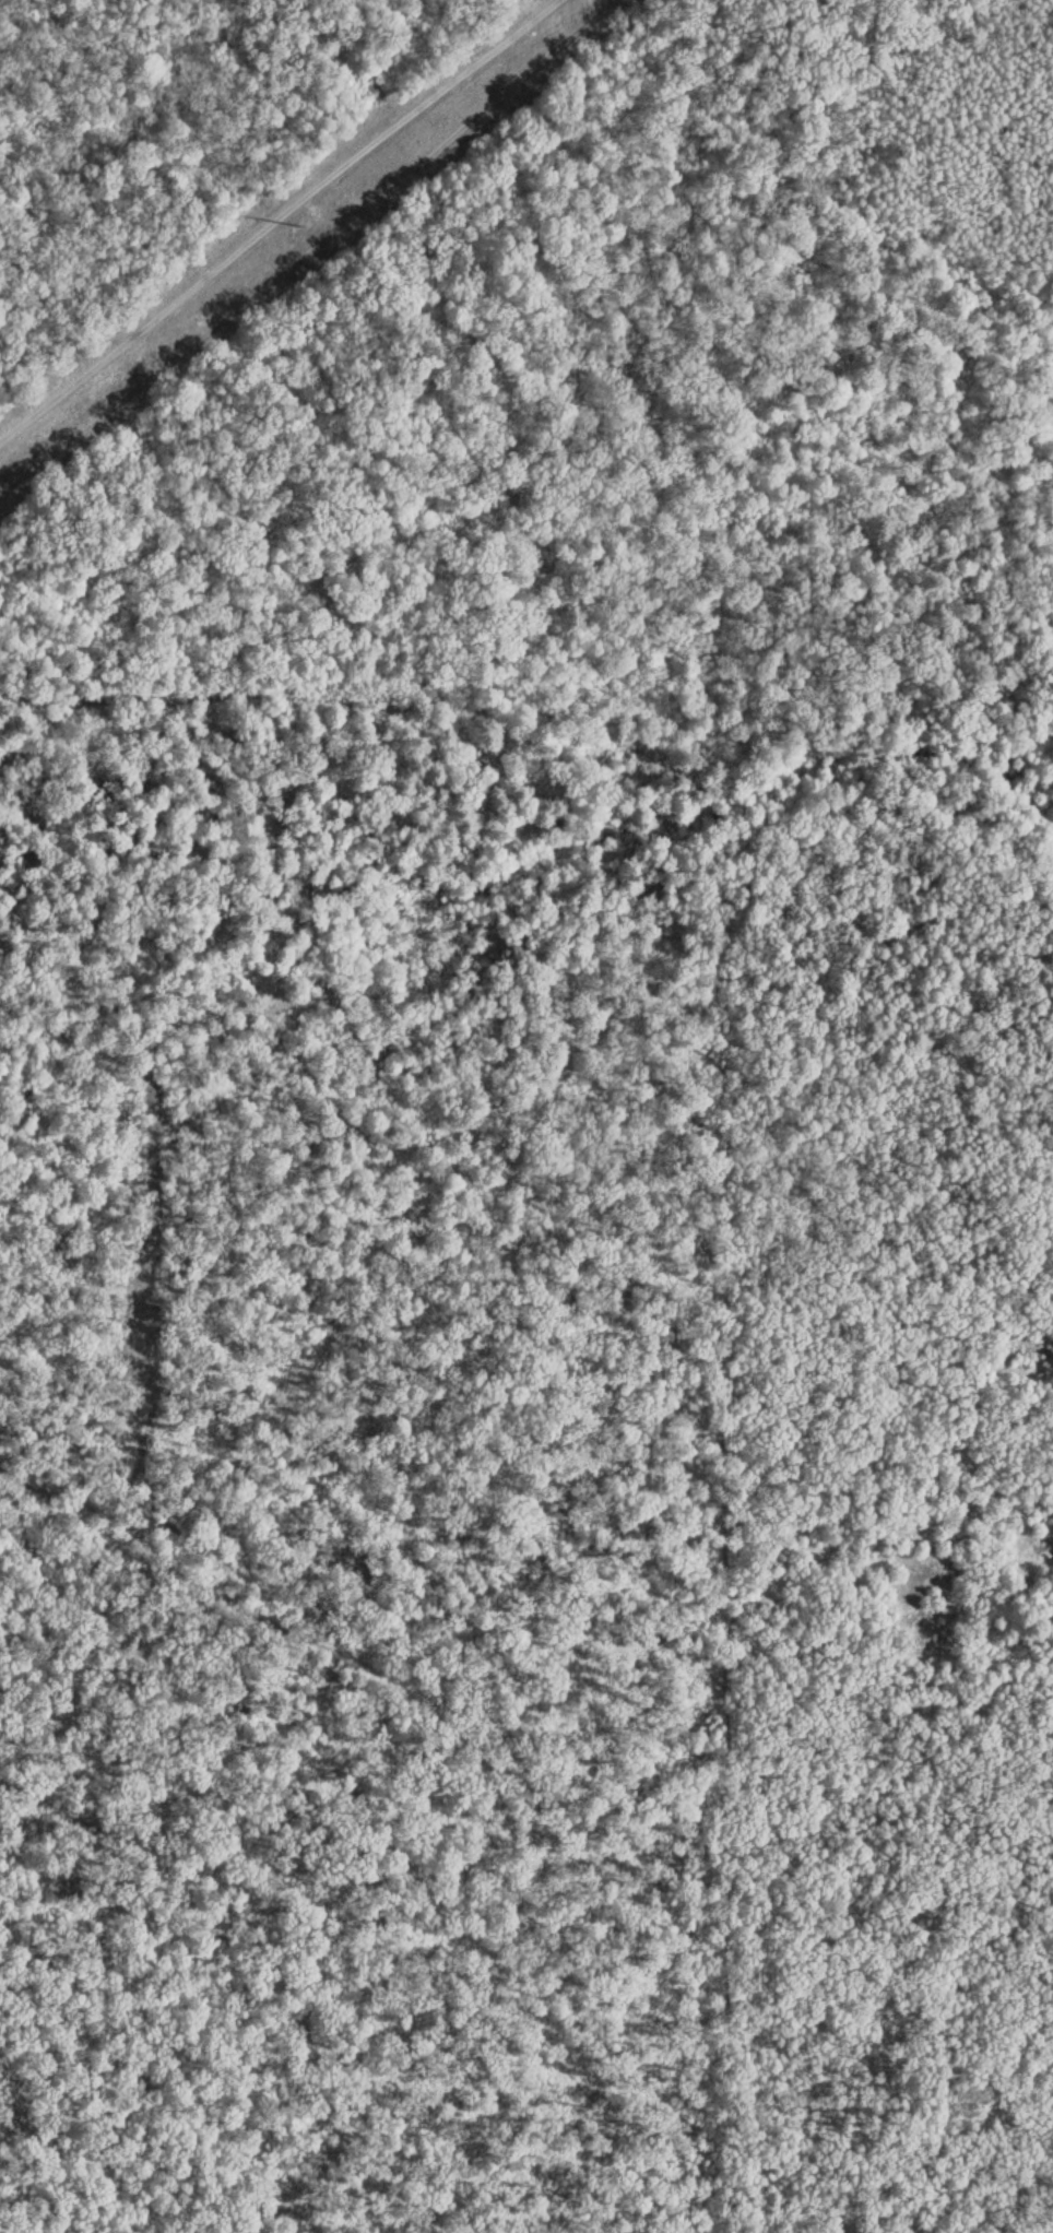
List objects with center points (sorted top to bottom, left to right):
road: (279, 210)

